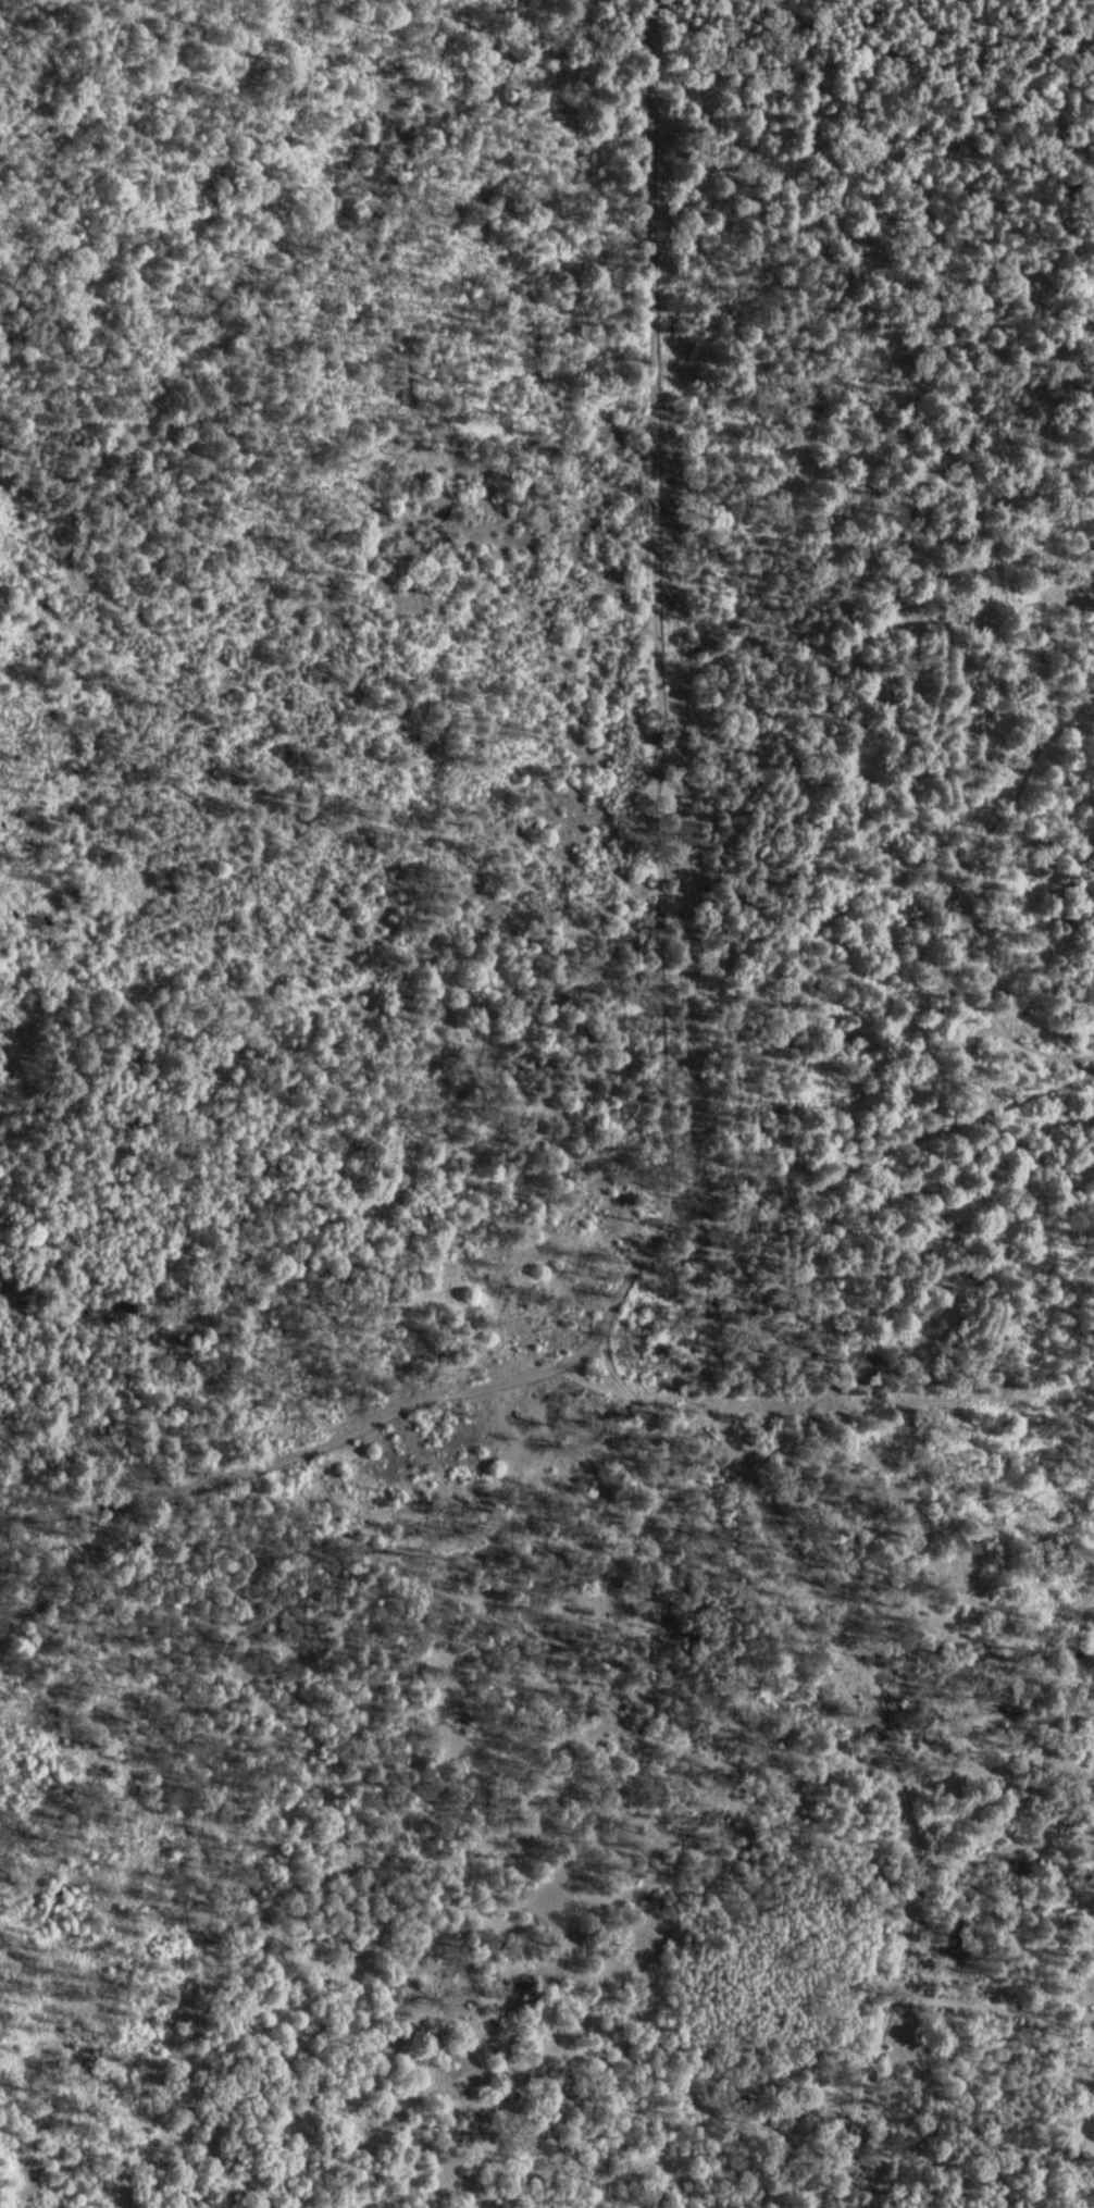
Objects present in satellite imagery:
road: (24, 15)
road: (1091, 1071)
road: (906, 1143)
road: (664, 1169)
road: (698, 1226)
road: (511, 1376)
road: (223, 1476)
road: (982, 1858)
road: (993, 2007)

